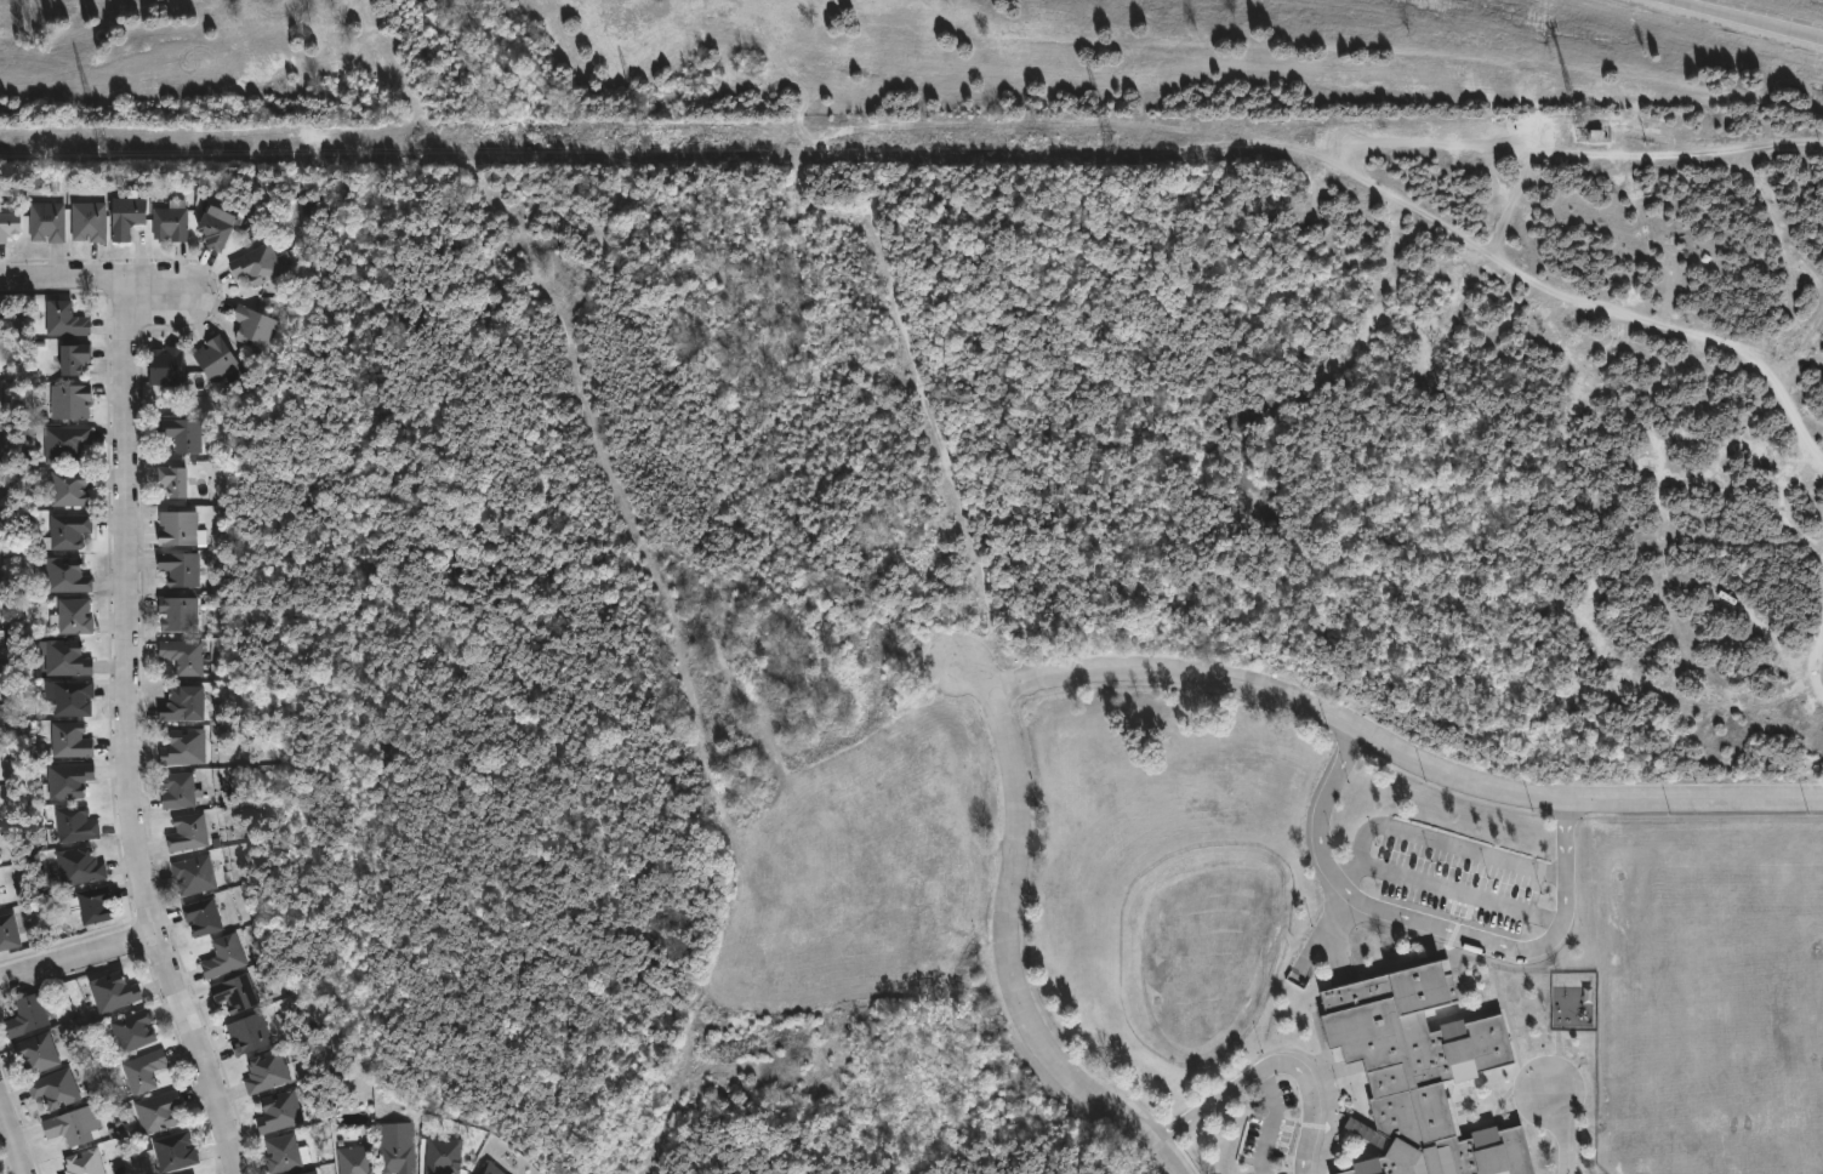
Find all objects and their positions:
road: (1750, 18)
power tower: (1585, 133)
power tower: (1111, 138)
power tower: (649, 143)
power tower: (106, 148)
building: (130, 217)
building: (51, 222)
building: (95, 222)
building: (175, 222)
building: (11, 228)
building: (223, 229)
building: (268, 264)
road: (69, 279)
road: (158, 293)
building: (69, 320)
building: (260, 327)
building: (221, 358)
building: (80, 361)
building: (170, 366)
building: (74, 403)
building: (187, 434)
building: (69, 441)
building: (180, 480)
building: (74, 486)
building: (180, 526)
building: (72, 530)
building: (2, 532)
building: (0, 562)
building: (182, 566)
building: (72, 575)
building: (180, 614)
building: (79, 615)
building: (2, 637)
building: (186, 655)
building: (69, 657)
road: (1090, 669)
building: (1, 677)
building: (74, 696)
building: (183, 703)
building: (1, 718)
building: (75, 740)
road: (130, 742)
building: (186, 748)
building: (74, 779)
building: (182, 790)
road: (1488, 790)
building: (80, 823)
building: (192, 832)
road: (1439, 839)
building: (85, 866)
building: (198, 873)
road: (1459, 891)
building: (2, 893)
building: (98, 904)
building: (206, 917)
road: (1429, 925)
building: (10, 933)
road: (78, 956)
building: (228, 957)
road: (1012, 963)
building: (118, 992)
building: (239, 992)
building: (32, 1016)
building: (137, 1030)
building: (251, 1033)
building: (39, 1054)
building: (148, 1071)
building: (269, 1072)
building: (1419, 1073)
building: (57, 1089)
road: (1311, 1100)
road: (1207, 1107)
building: (281, 1111)
building: (161, 1112)
road: (1271, 1122)
building: (75, 1125)
road: (1567, 1127)
road: (12, 1136)
building: (398, 1147)
building: (178, 1151)
building: (286, 1152)
building: (441, 1155)
building: (353, 1159)
building: (87, 1163)
building: (489, 1169)
building: (313, 1172)

